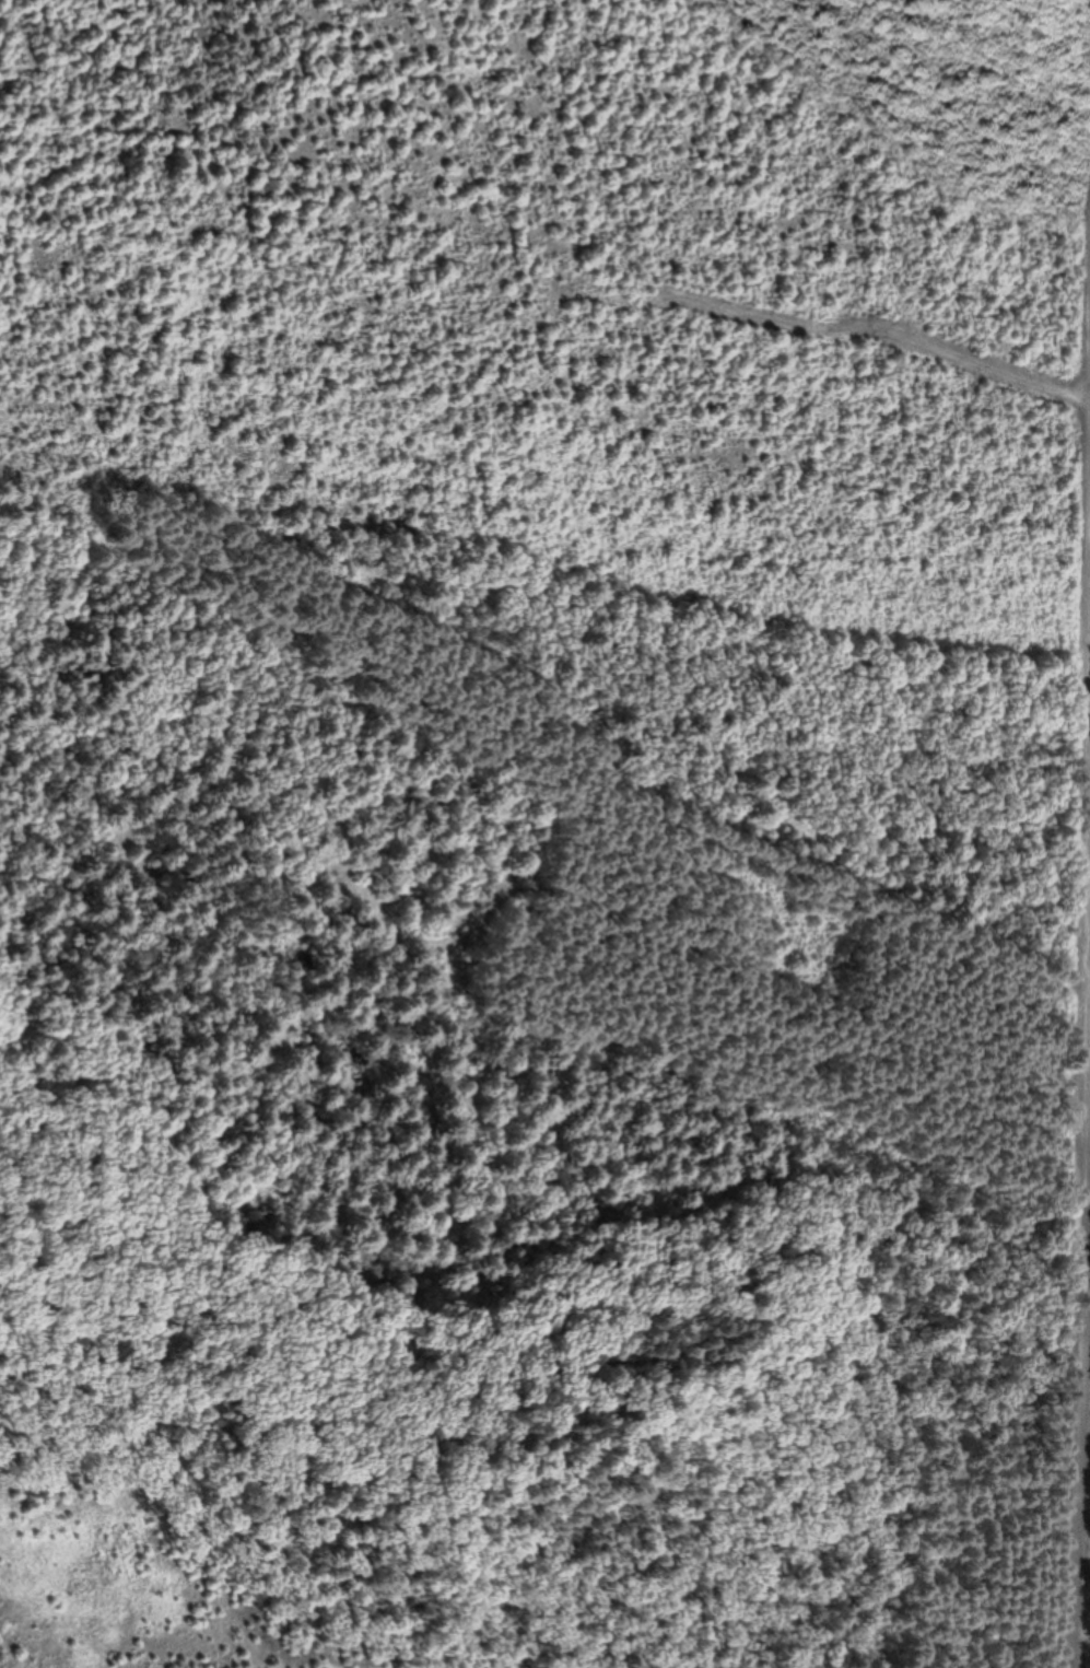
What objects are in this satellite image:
road: (1085, 948)

